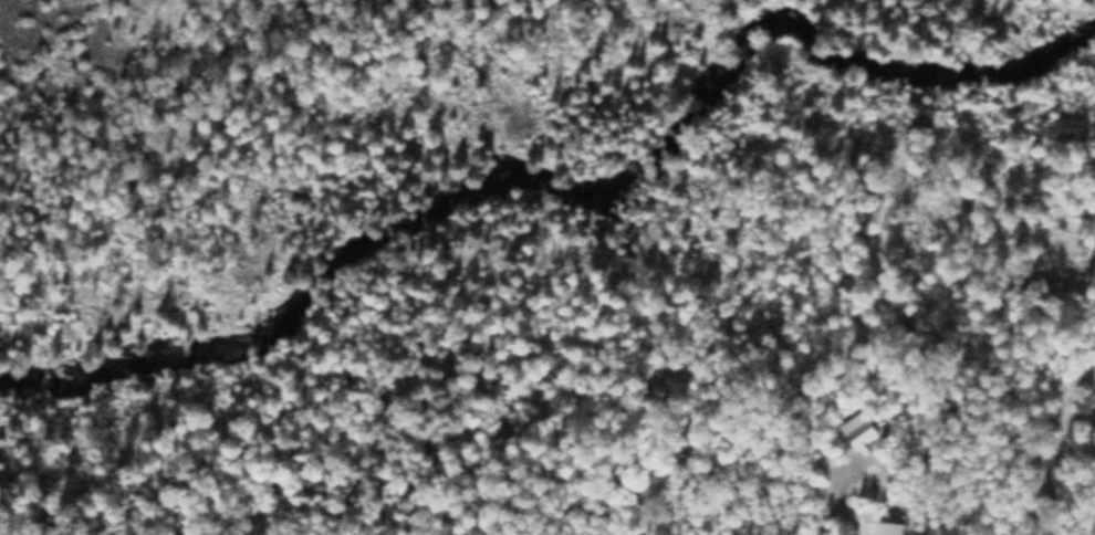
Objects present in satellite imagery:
river: (578, 196)
building: (857, 431)
road: (836, 496)

